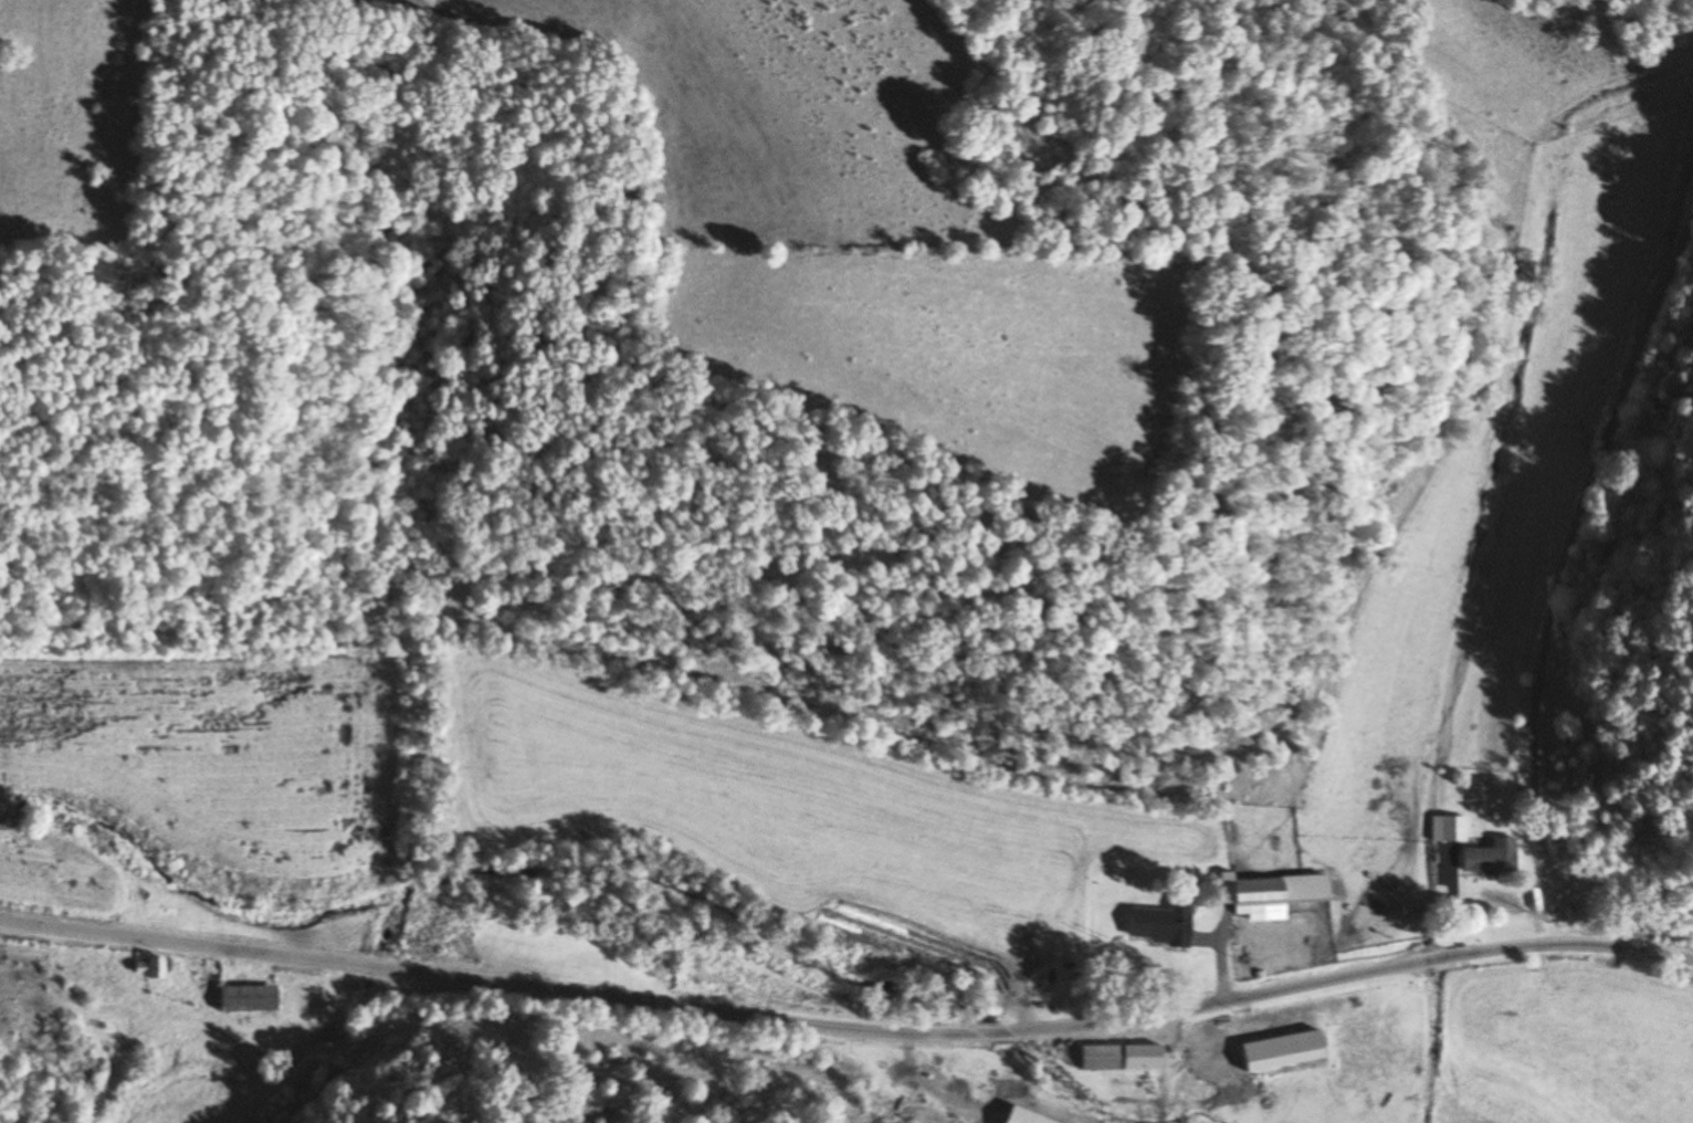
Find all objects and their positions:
crop: (213, 752)
crop: (790, 808)
building: (1450, 828)
building: (1489, 858)
building: (1268, 891)
building: (215, 913)
building: (1159, 925)
building: (146, 967)
building: (243, 998)
road: (846, 1028)
crop: (1559, 1038)
building: (1114, 1056)
building: (960, 1089)
building: (1021, 1116)

